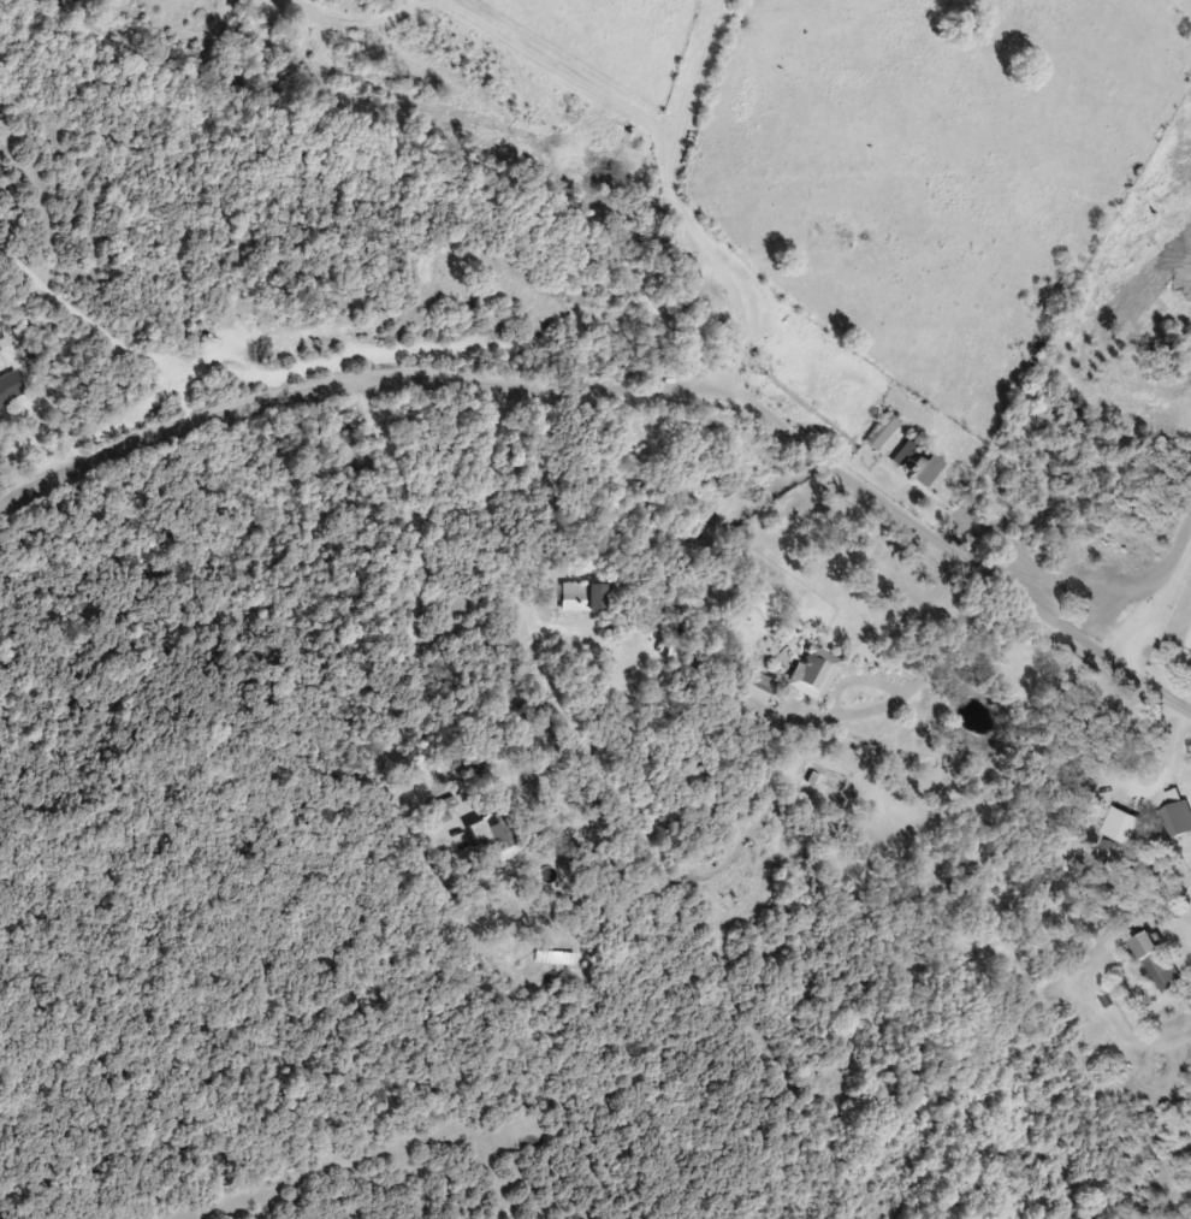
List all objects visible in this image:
road: (385, 162)
building: (689, 268)
building: (11, 387)
road: (638, 390)
building: (883, 431)
building: (919, 461)
building: (716, 481)
building: (585, 596)
building: (814, 671)
road: (375, 681)
building: (759, 686)
building: (1178, 813)
building: (490, 838)
building: (1077, 865)
building: (1118, 957)
building: (1160, 961)

